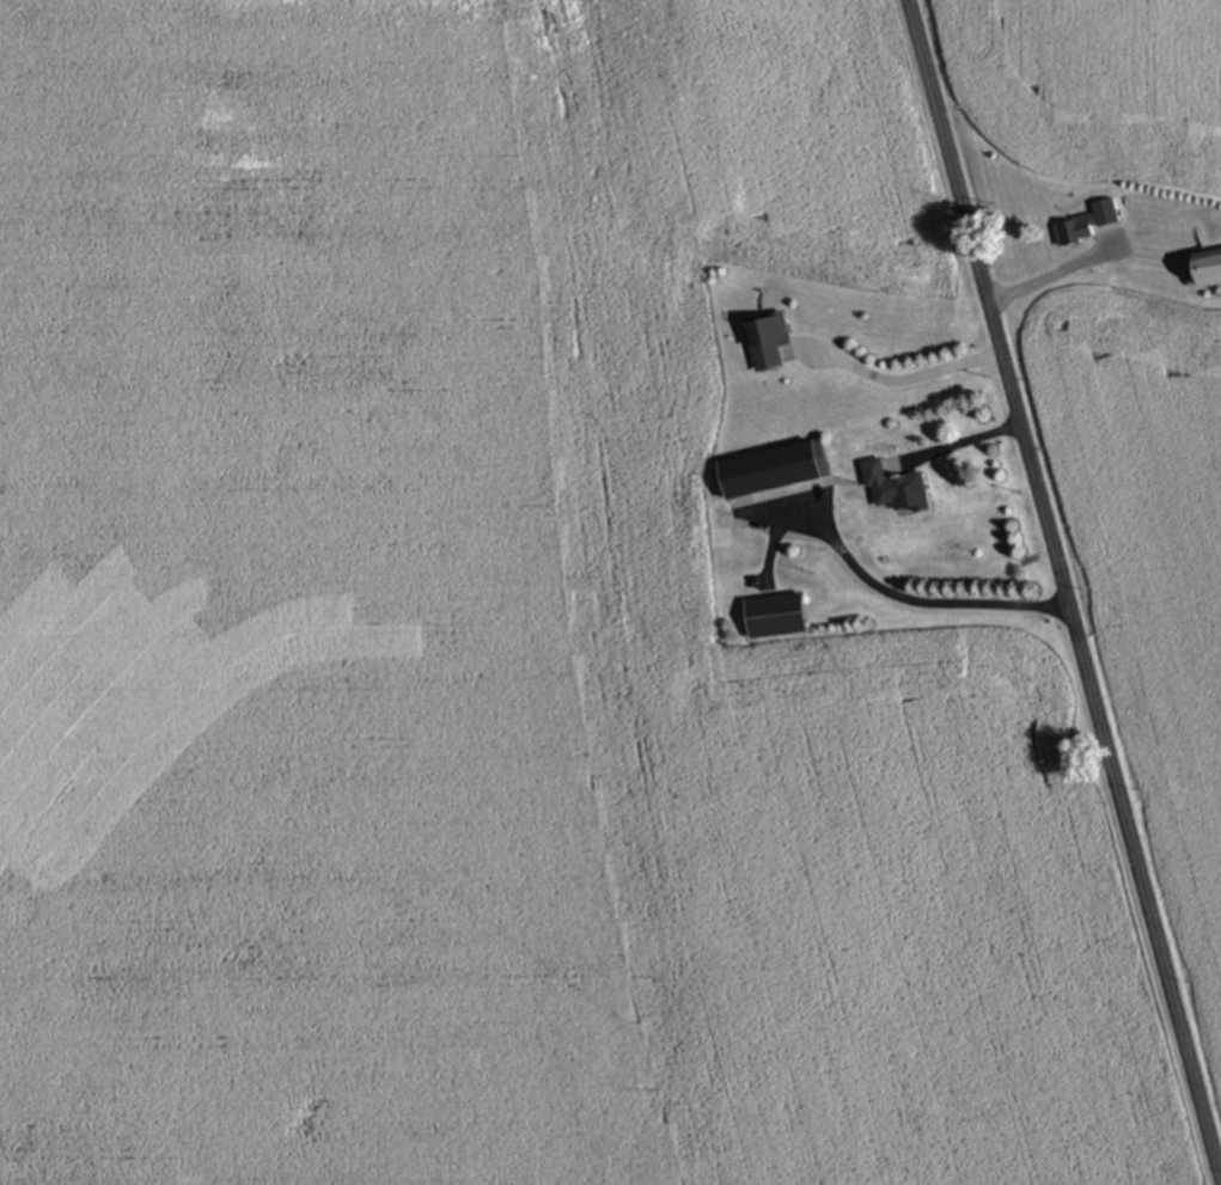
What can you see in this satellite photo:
building: (1077, 231)
building: (1208, 271)
road: (1051, 275)
building: (768, 342)
road: (903, 381)
road: (959, 442)
building: (774, 470)
building: (893, 488)
road: (1063, 584)
road: (927, 605)
building: (775, 617)

